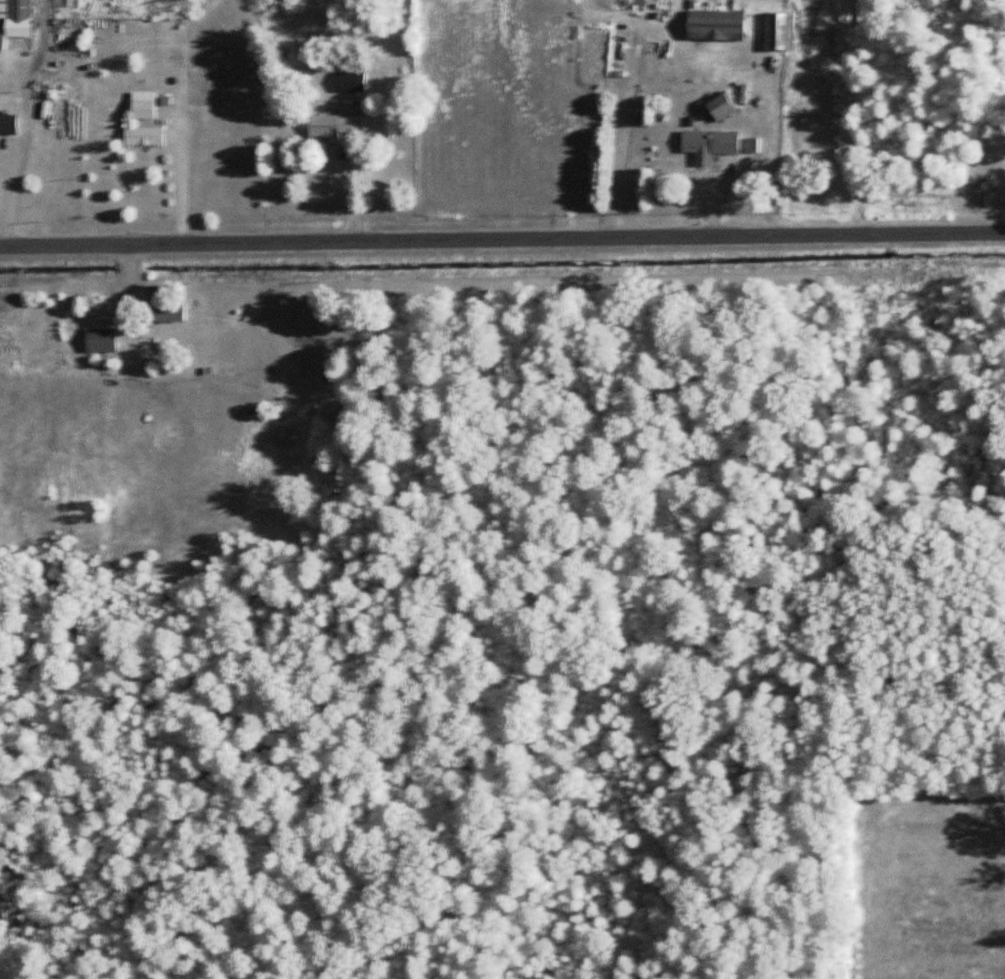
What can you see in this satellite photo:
building: (16, 17)
building: (716, 26)
building: (779, 33)
building: (720, 107)
building: (139, 119)
building: (8, 127)
building: (336, 127)
building: (709, 145)
road: (181, 179)
road: (11, 200)
road: (502, 236)
building: (163, 305)
building: (100, 341)
building: (148, 347)

